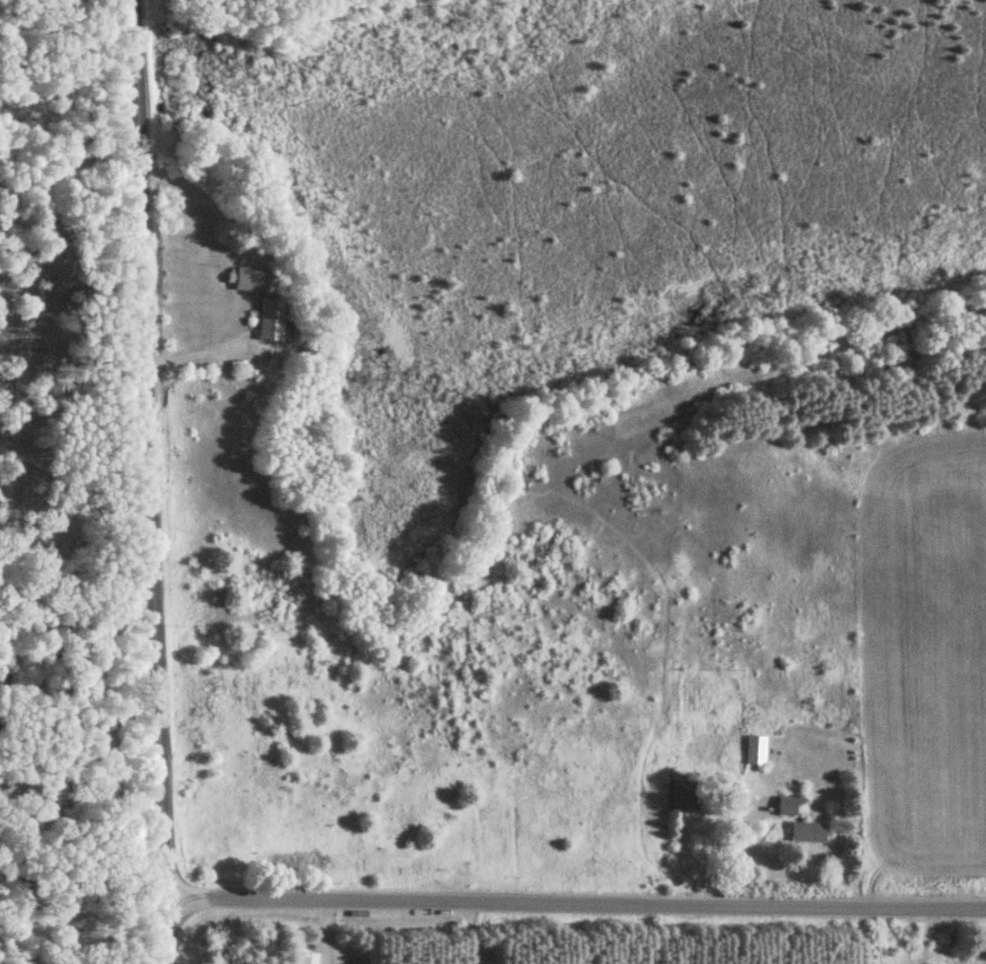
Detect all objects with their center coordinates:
building: (246, 281)
building: (267, 321)
road: (152, 481)
building: (756, 751)
building: (684, 796)
building: (787, 807)
building: (807, 834)
road: (577, 902)
building: (306, 958)

